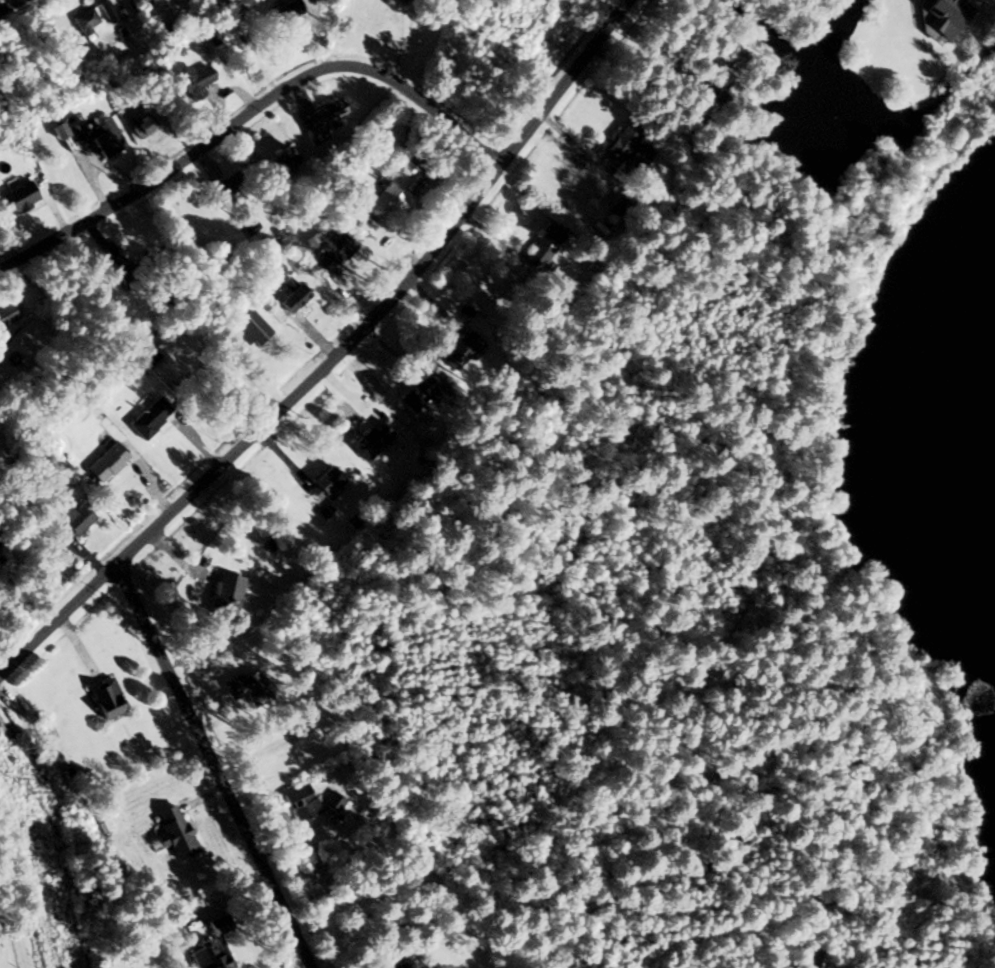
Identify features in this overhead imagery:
road: (4, 2)
building: (137, 2)
building: (105, 11)
building: (284, 12)
building: (940, 14)
building: (83, 20)
building: (195, 81)
building: (705, 93)
road: (249, 109)
building: (320, 119)
building: (138, 127)
building: (104, 137)
building: (624, 146)
building: (277, 158)
building: (236, 179)
building: (393, 189)
building: (16, 197)
building: (612, 217)
building: (540, 247)
building: (330, 250)
building: (290, 297)
building: (463, 348)
building: (148, 356)
building: (415, 393)
building: (148, 417)
building: (369, 439)
road: (229, 456)
building: (105, 462)
building: (325, 482)
road: (9, 491)
building: (68, 522)
building: (223, 596)
road: (67, 640)
building: (104, 698)
power tower: (17, 792)
building: (299, 800)
building: (172, 831)
building: (210, 947)
building: (395, 965)

